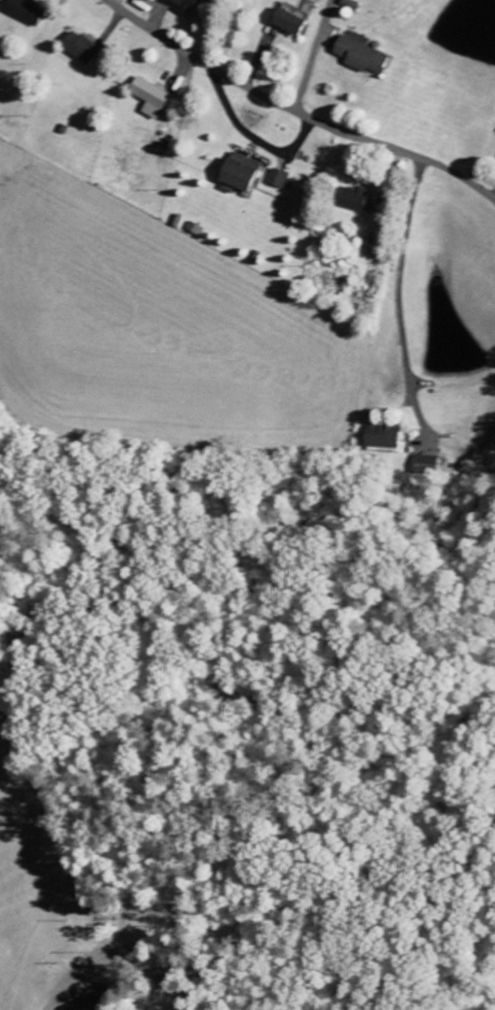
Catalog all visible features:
building: (180, 5)
building: (23, 11)
building: (285, 22)
building: (78, 47)
building: (358, 56)
building: (148, 97)
road: (297, 110)
building: (237, 173)
building: (278, 178)
building: (351, 198)
building: (382, 438)
building: (425, 465)
building: (81, 1005)

